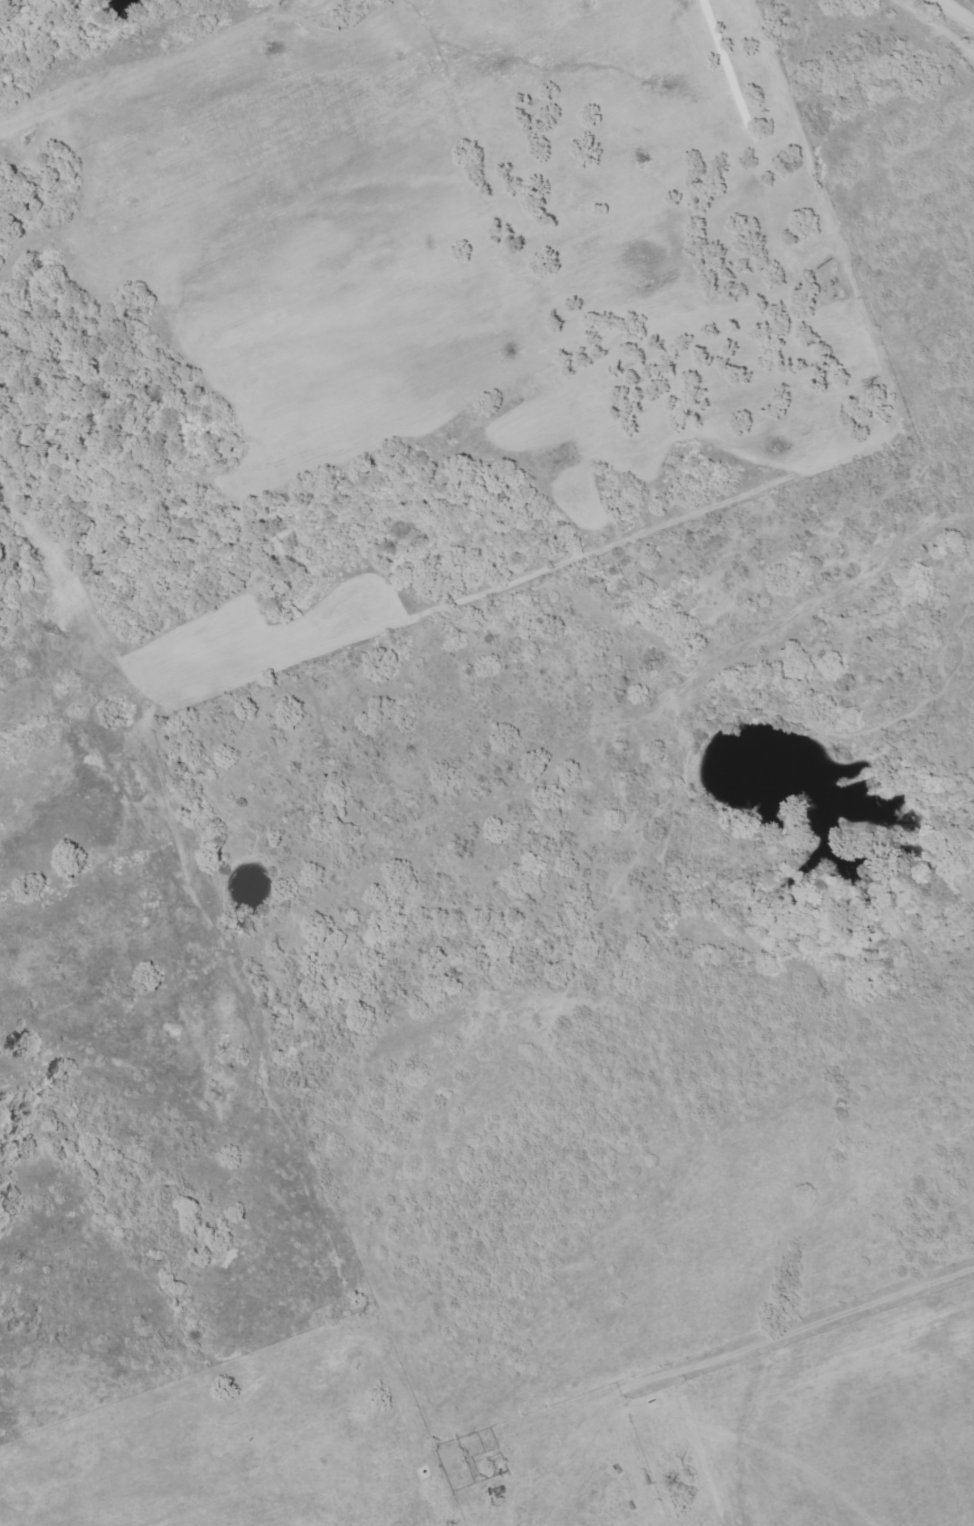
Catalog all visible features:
road: (955, 11)
road: (793, 113)

